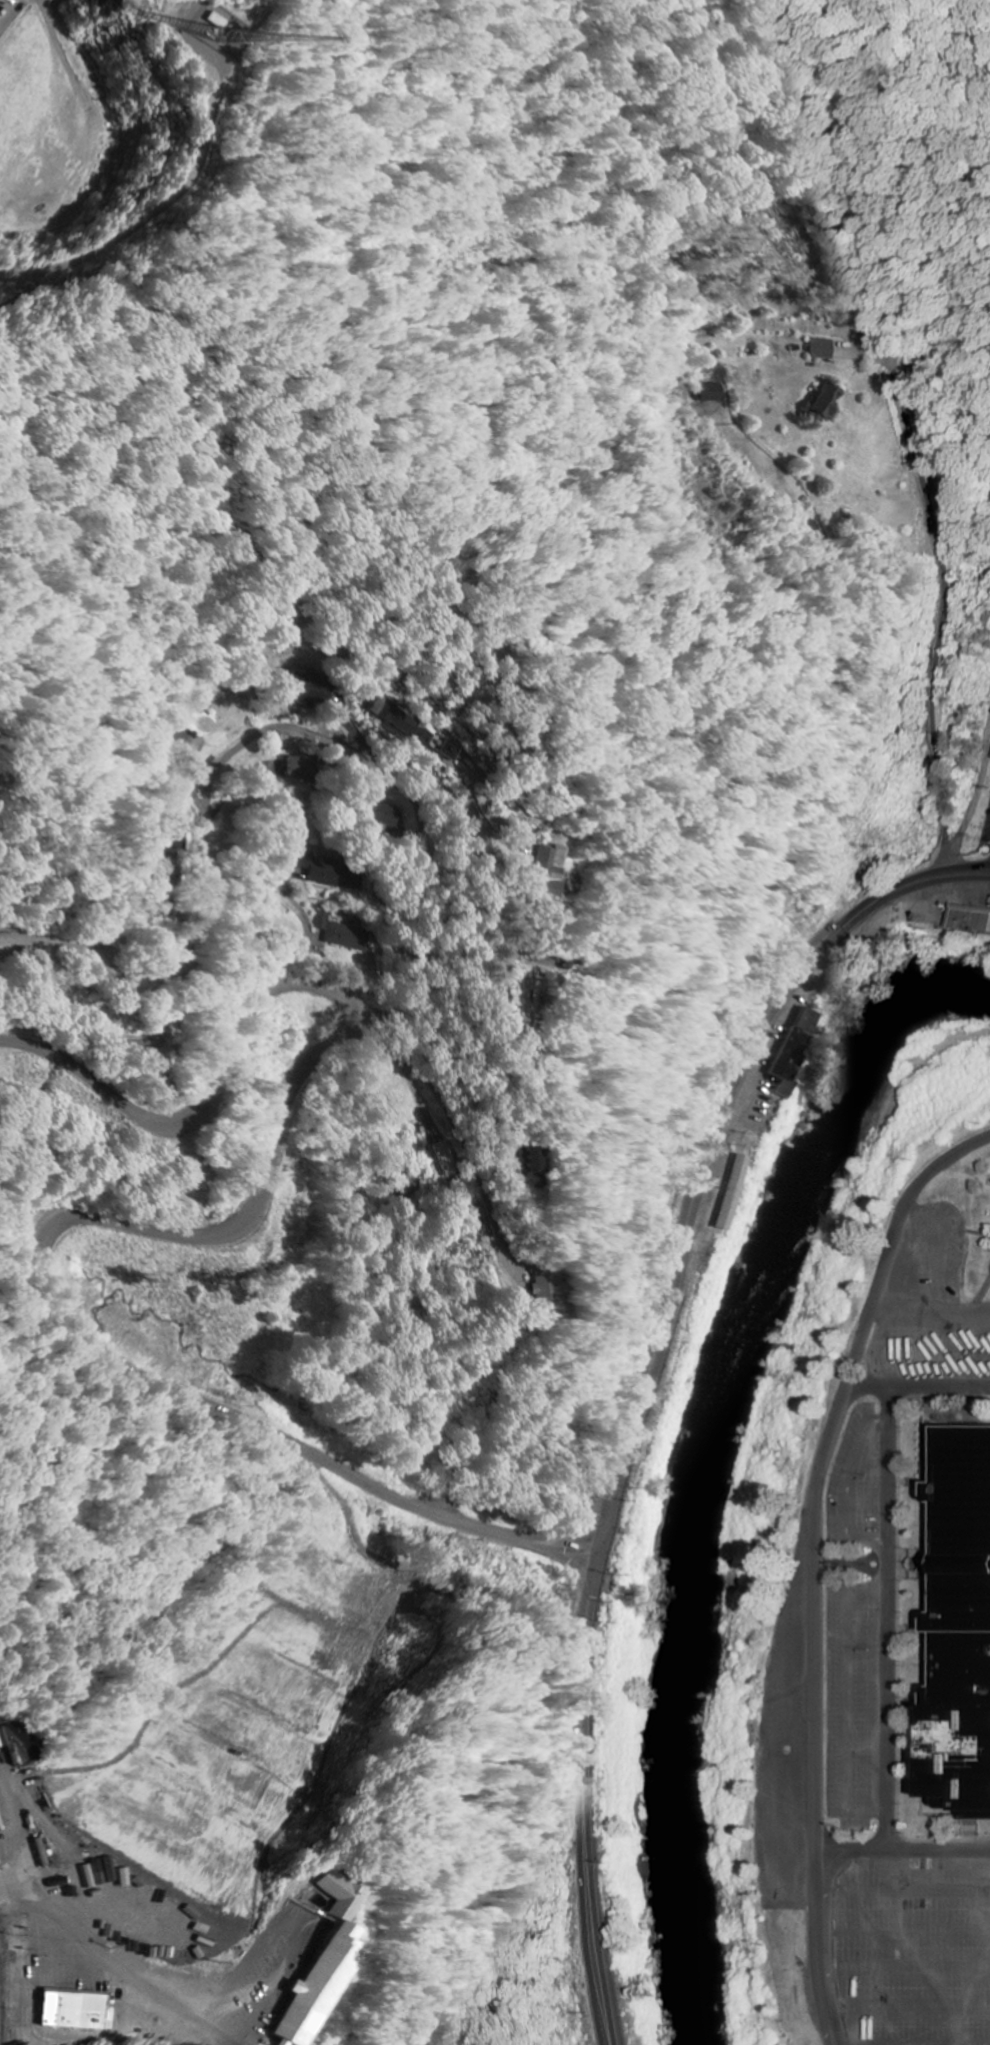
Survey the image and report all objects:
road: (16, 17)
road: (160, 209)
building: (825, 349)
building: (716, 393)
building: (827, 402)
road: (942, 608)
building: (309, 687)
building: (405, 726)
building: (452, 750)
building: (301, 769)
road: (974, 812)
building: (387, 815)
road: (203, 834)
building: (551, 871)
building: (336, 874)
building: (971, 919)
building: (341, 934)
road: (309, 938)
building: (794, 1049)
road: (451, 1115)
building: (445, 1159)
building: (528, 1166)
building: (734, 1192)
road: (153, 1229)
building: (542, 1284)
road: (648, 1385)
river: (708, 1460)
road: (354, 1525)
road: (814, 1563)
building: (965, 1626)
building: (22, 1743)
road: (879, 1853)
road: (967, 1854)
road: (127, 1964)
building: (326, 1966)

